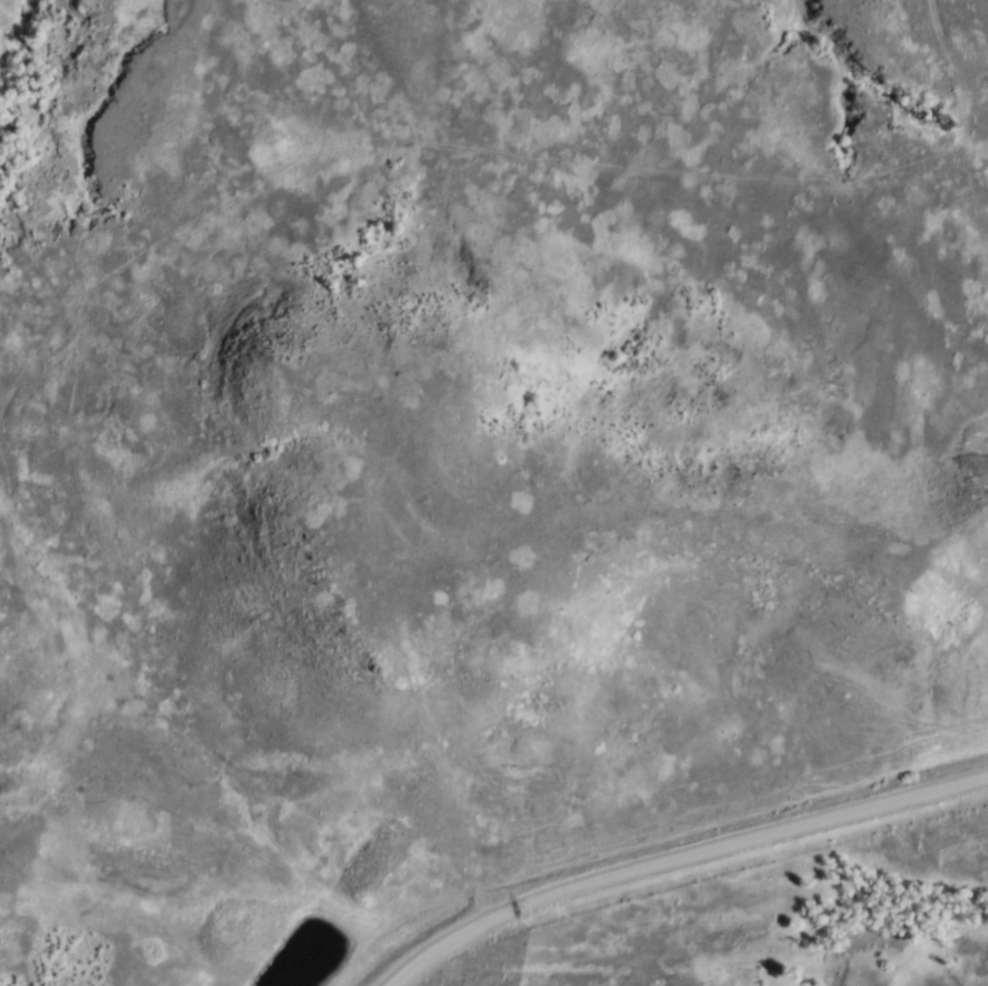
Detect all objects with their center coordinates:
road: (934, 53)
road: (677, 865)

